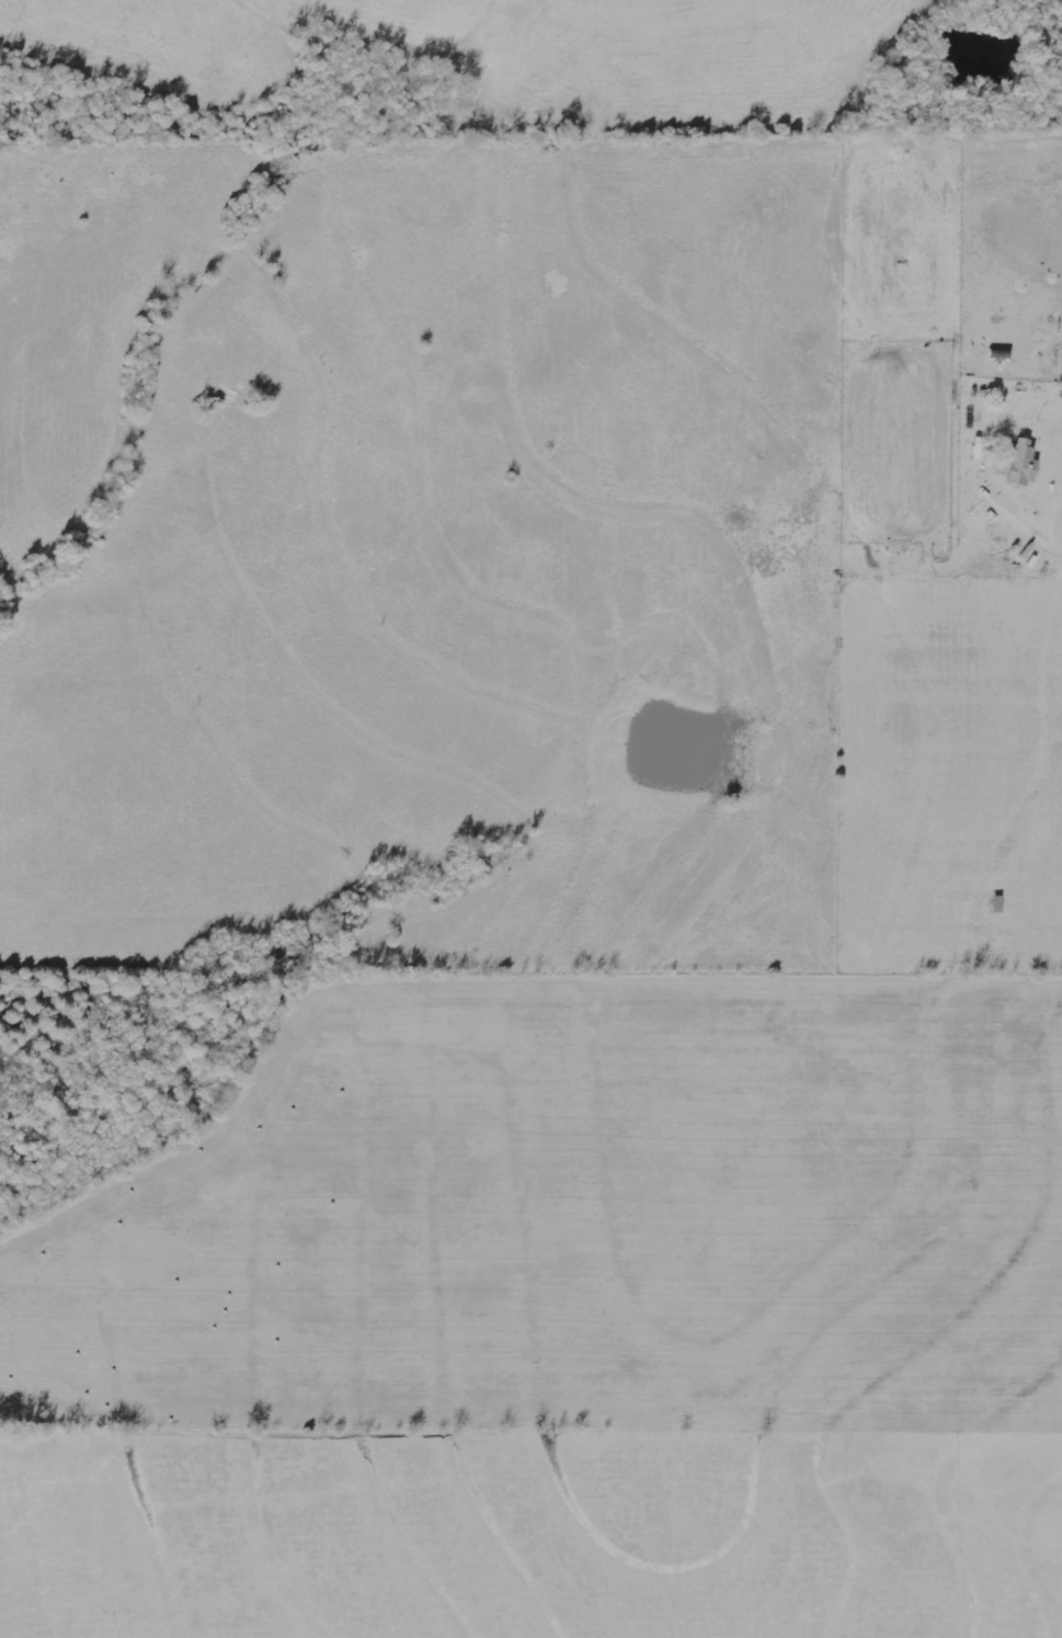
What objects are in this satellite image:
building: (1016, 464)
road: (1047, 536)

